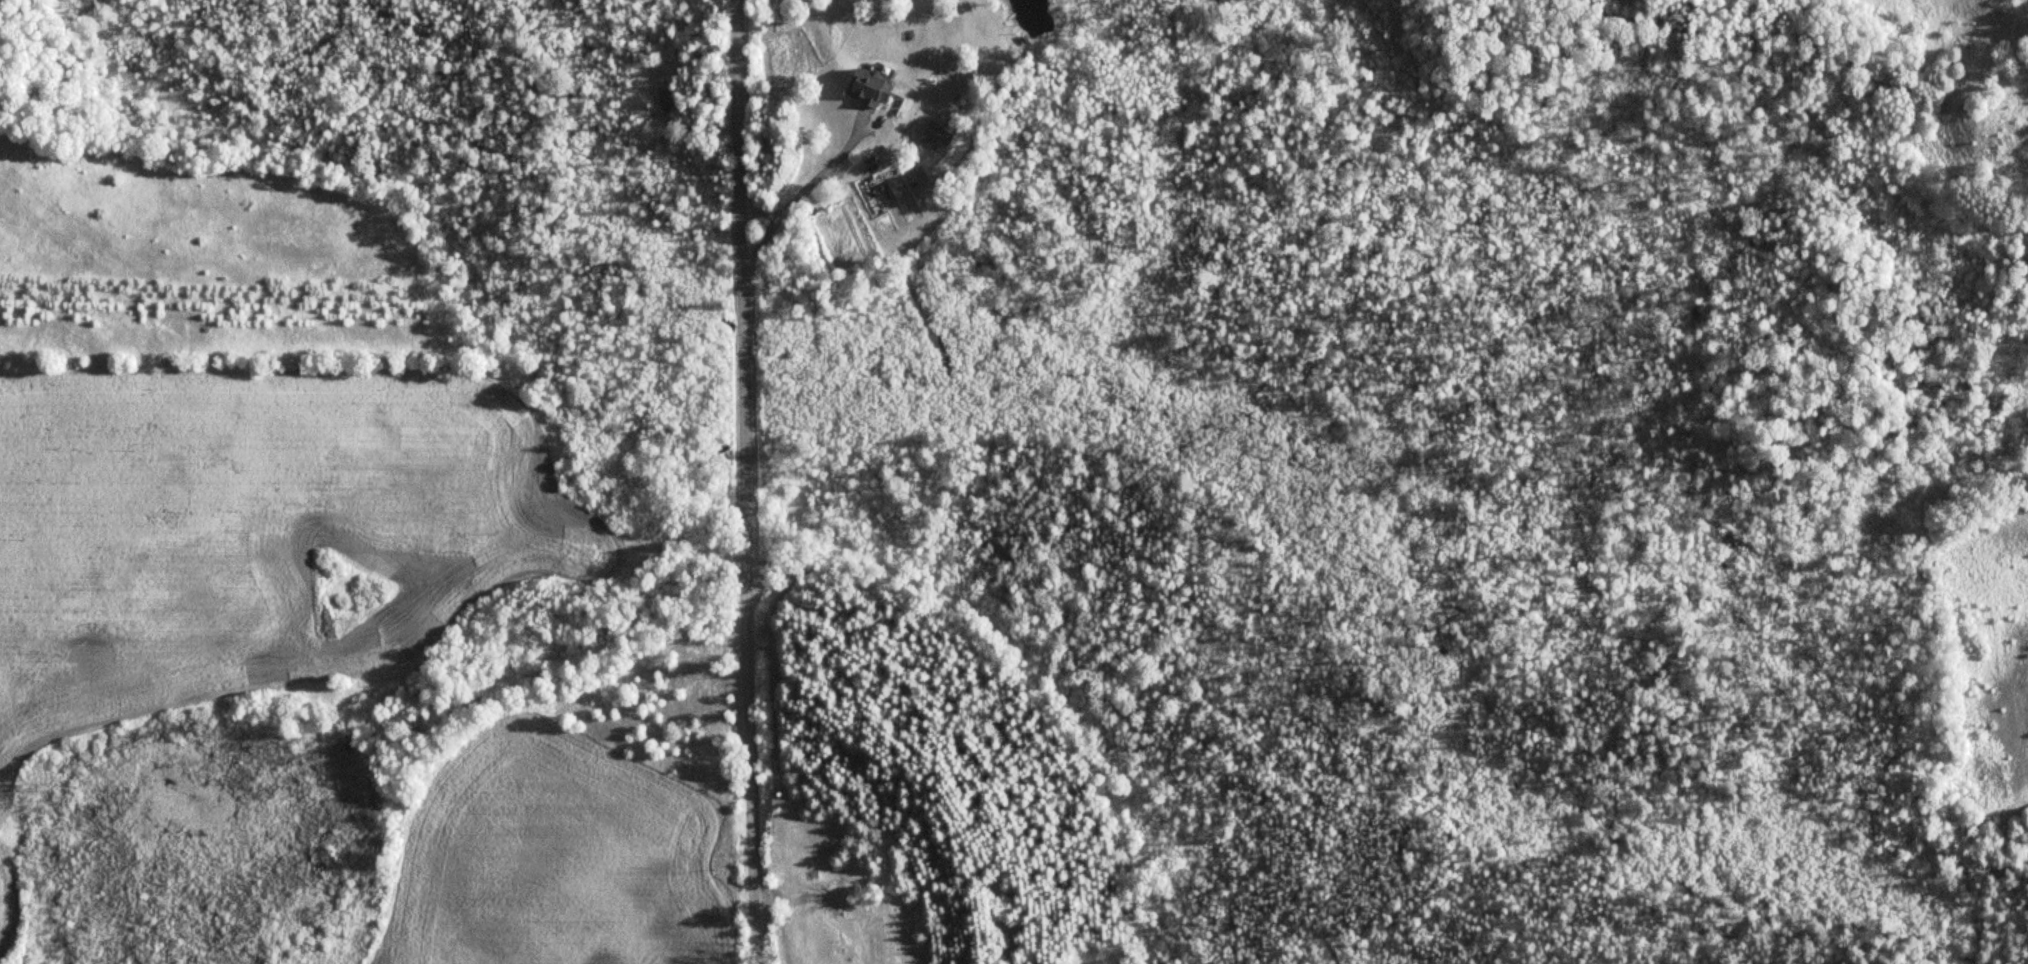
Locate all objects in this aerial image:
road: (691, 45)
building: (865, 87)
building: (666, 97)
building: (934, 136)
road: (745, 481)

